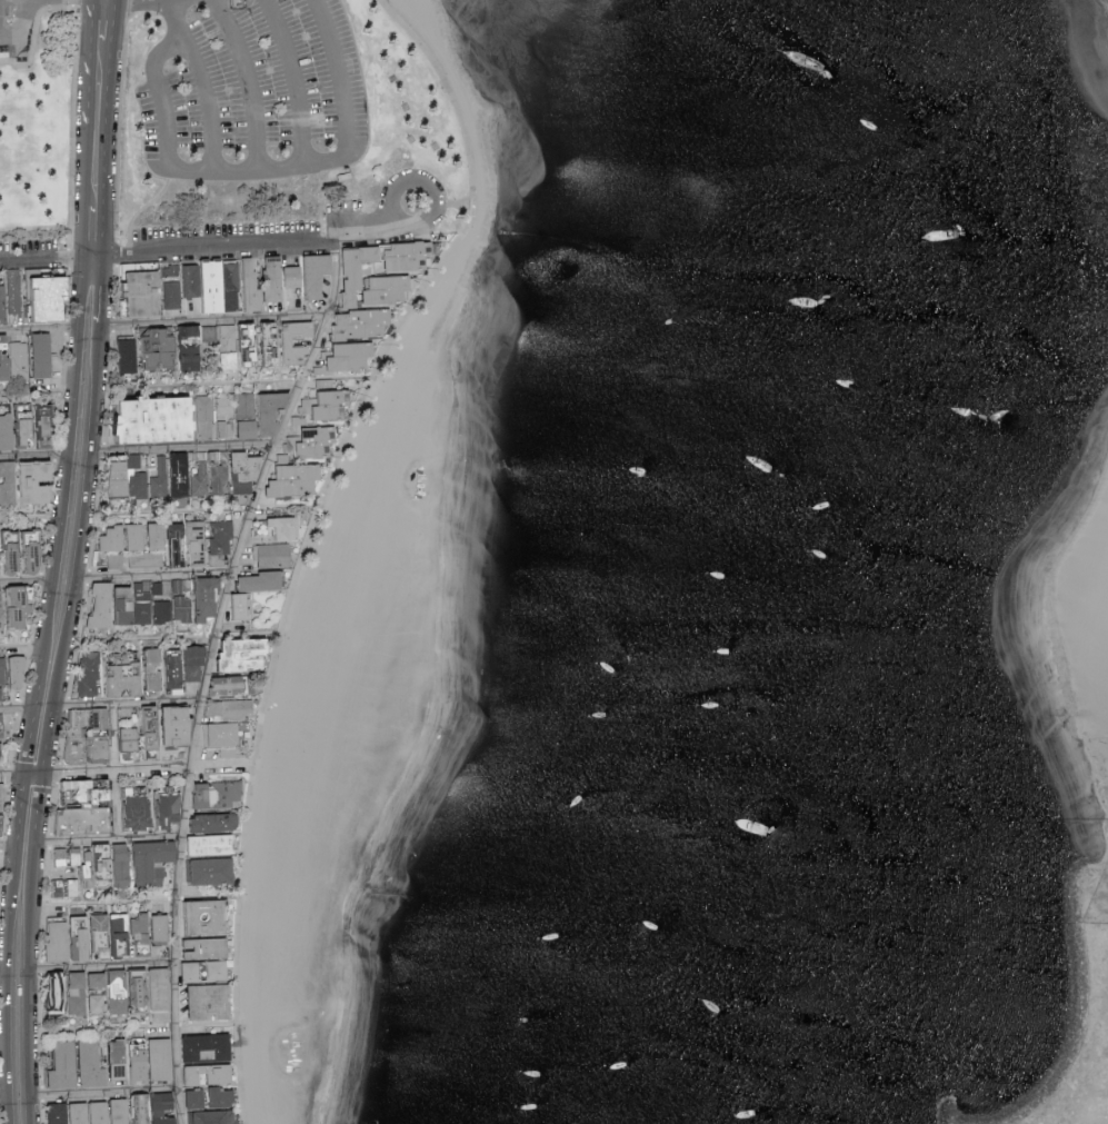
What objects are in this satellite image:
road: (164, 3)
road: (26, 17)
road: (114, 20)
parking lot: (19, 32)
road: (10, 34)
road: (178, 43)
road: (91, 61)
road: (335, 72)
road: (292, 79)
road: (247, 80)
parking lot: (257, 92)
road: (206, 102)
road: (167, 121)
park: (286, 128)
park: (38, 136)
road: (106, 148)
road: (89, 165)
road: (259, 166)
road: (432, 189)
road: (87, 231)
road: (238, 249)
road: (42, 260)
building: (311, 273)
building: (400, 276)
building: (276, 279)
building: (213, 286)
building: (252, 286)
road: (102, 290)
building: (146, 292)
building: (174, 295)
building: (10, 296)
building: (51, 297)
road: (216, 322)
building: (363, 324)
road: (41, 330)
building: (289, 340)
building: (178, 347)
building: (128, 354)
building: (43, 355)
building: (352, 356)
road: (238, 385)
road: (38, 394)
building: (226, 405)
building: (325, 405)
building: (272, 409)
building: (247, 416)
building: (160, 418)
building: (47, 426)
building: (226, 428)
building: (204, 429)
building: (7, 431)
building: (317, 441)
building: (291, 444)
road: (186, 449)
road: (36, 459)
building: (246, 470)
road: (70, 471)
building: (193, 475)
building: (129, 478)
building: (159, 478)
building: (296, 479)
building: (27, 483)
road: (204, 511)
road: (84, 517)
road: (32, 519)
building: (285, 527)
road: (316, 533)
building: (137, 536)
building: (113, 538)
building: (220, 543)
building: (272, 556)
building: (146, 559)
building: (114, 560)
road: (154, 578)
building: (262, 581)
road: (28, 584)
building: (208, 597)
building: (181, 604)
building: (16, 606)
building: (102, 606)
building: (241, 606)
road: (173, 640)
road: (23, 646)
building: (247, 654)
building: (197, 663)
building: (19, 672)
building: (176, 672)
building: (89, 674)
building: (138, 674)
road: (207, 674)
building: (2, 677)
road: (127, 705)
building: (229, 708)
road: (19, 709)
park: (1071, 709)
building: (90, 719)
building: (179, 725)
building: (151, 727)
building: (221, 734)
building: (130, 739)
building: (0, 749)
road: (28, 765)
road: (127, 770)
road: (114, 773)
road: (42, 777)
building: (202, 796)
building: (2, 798)
building: (153, 810)
building: (217, 822)
building: (2, 825)
road: (108, 842)
building: (211, 845)
road: (9, 846)
building: (68, 856)
building: (153, 862)
building: (122, 865)
building: (214, 871)
road: (134, 903)
road: (6, 909)
building: (209, 918)
building: (101, 923)
building: (140, 923)
building: (120, 928)
building: (154, 932)
building: (71, 939)
building: (206, 948)
road: (101, 967)
building: (217, 969)
building: (191, 972)
road: (4, 973)
building: (159, 975)
building: (98, 981)
road: (9, 984)
road: (28, 984)
building: (69, 992)
building: (210, 1002)
building: (99, 1003)
road: (132, 1029)
road: (4, 1035)
building: (209, 1060)
building: (120, 1061)
building: (154, 1062)
building: (92, 1065)
building: (64, 1066)
road: (103, 1093)
road: (6, 1098)
building: (211, 1098)
building: (121, 1111)
building: (59, 1113)
building: (90, 1113)
building: (213, 1117)

